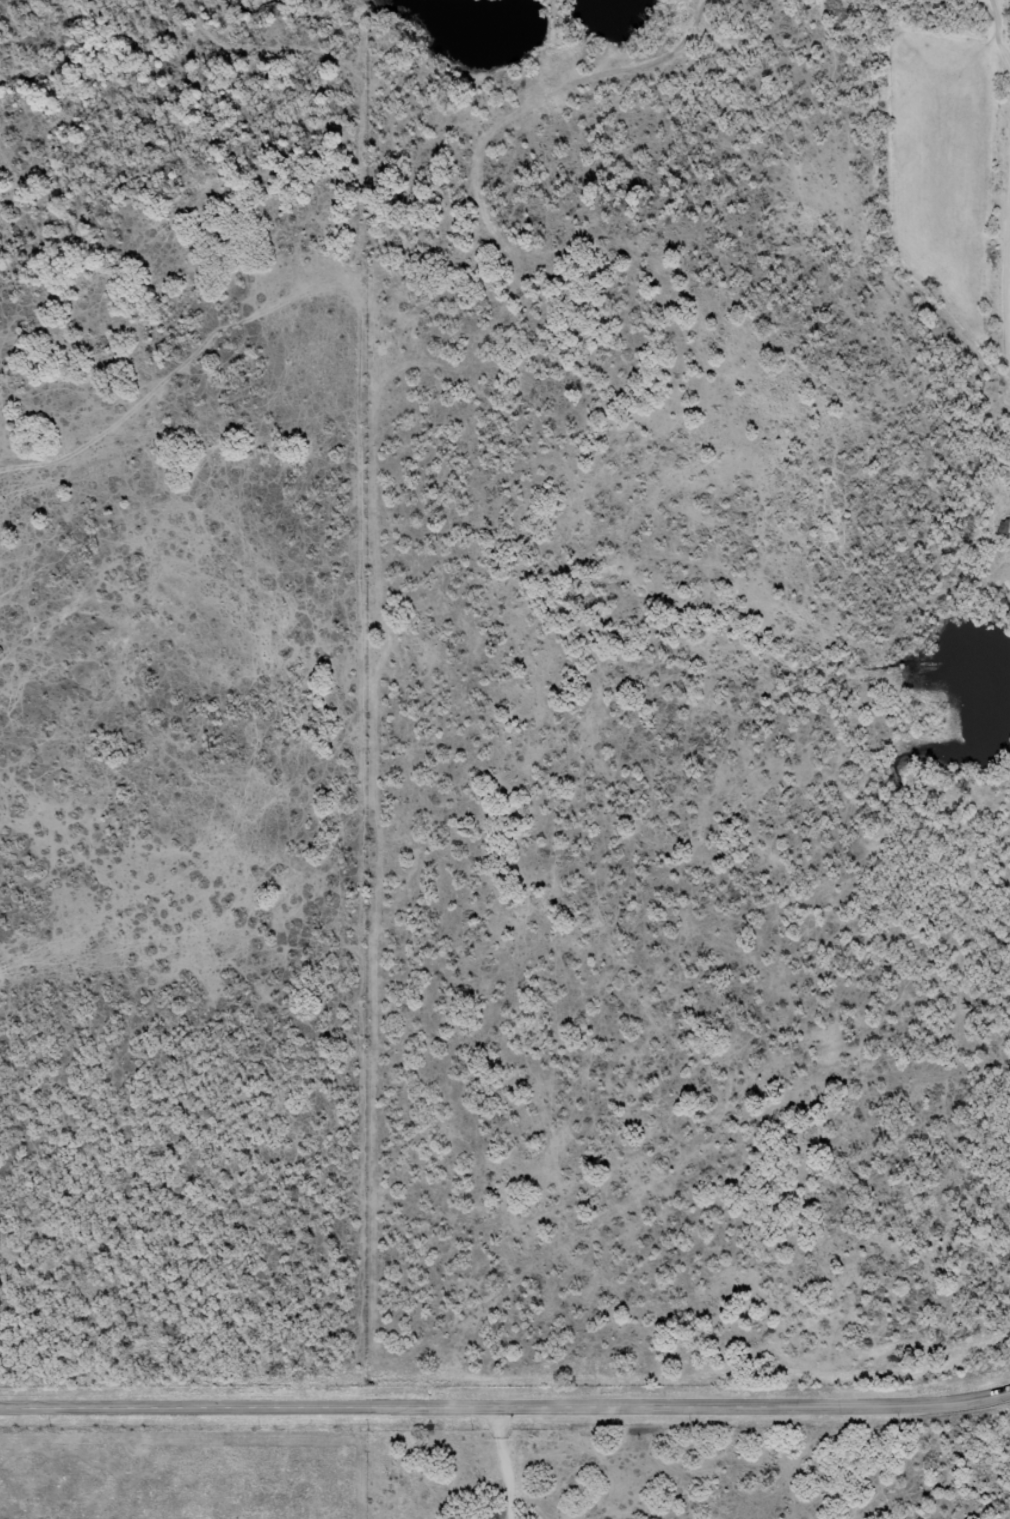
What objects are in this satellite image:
road: (505, 1406)

